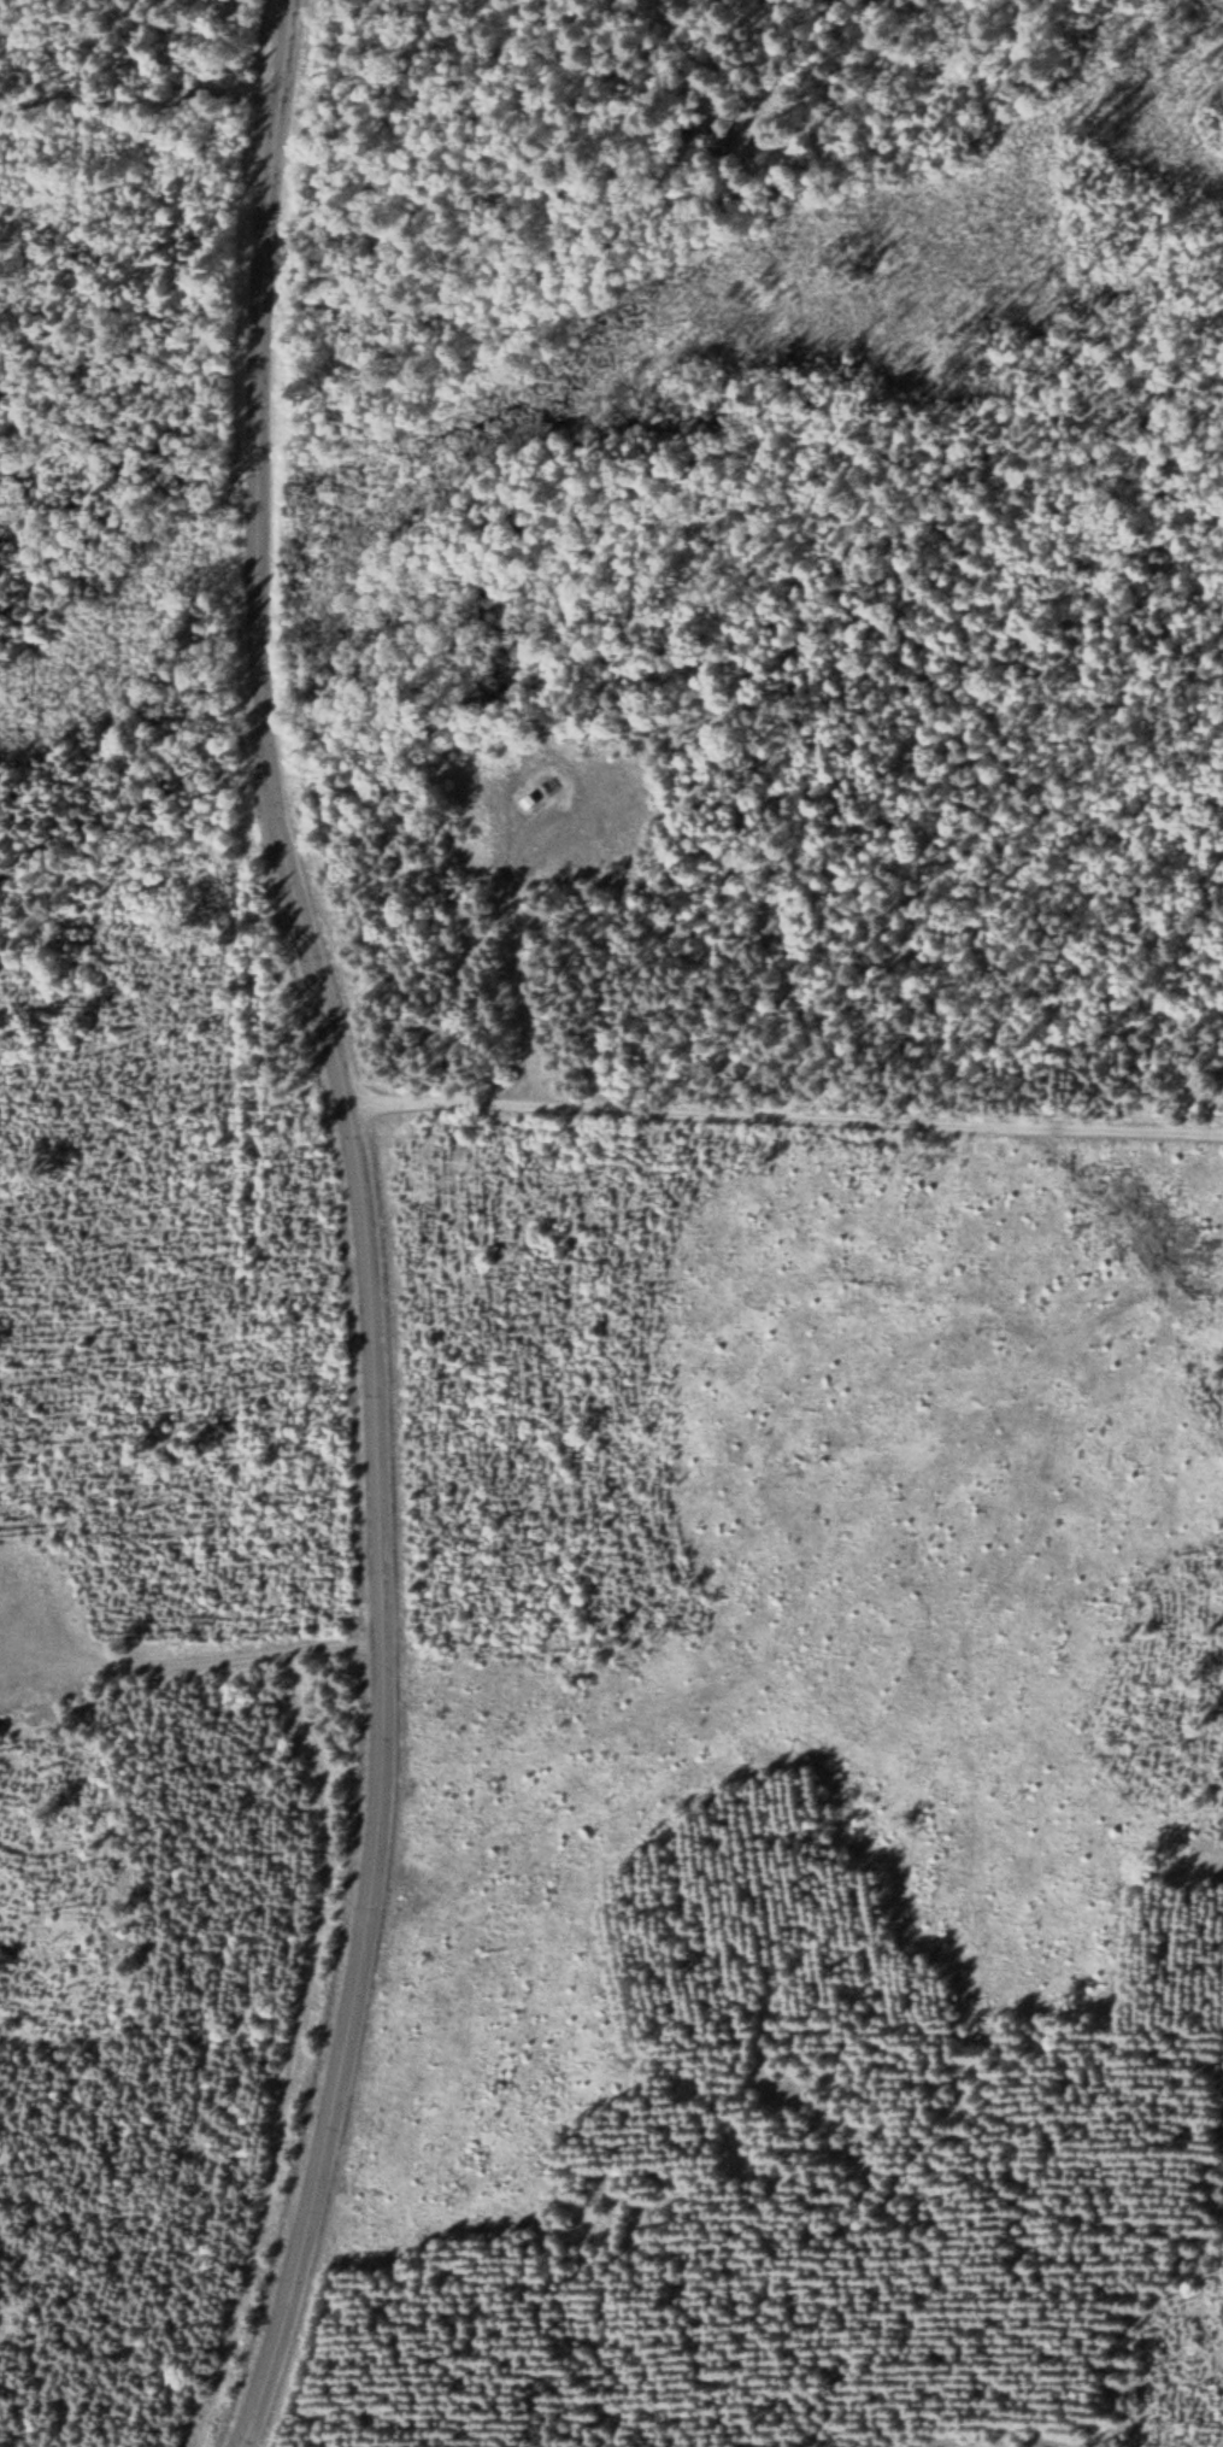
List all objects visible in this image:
road: (352, 69)
road: (643, 74)
road: (140, 86)
building: (715, 143)
petroleum well: (546, 782)
road: (786, 1119)
road: (368, 1225)

